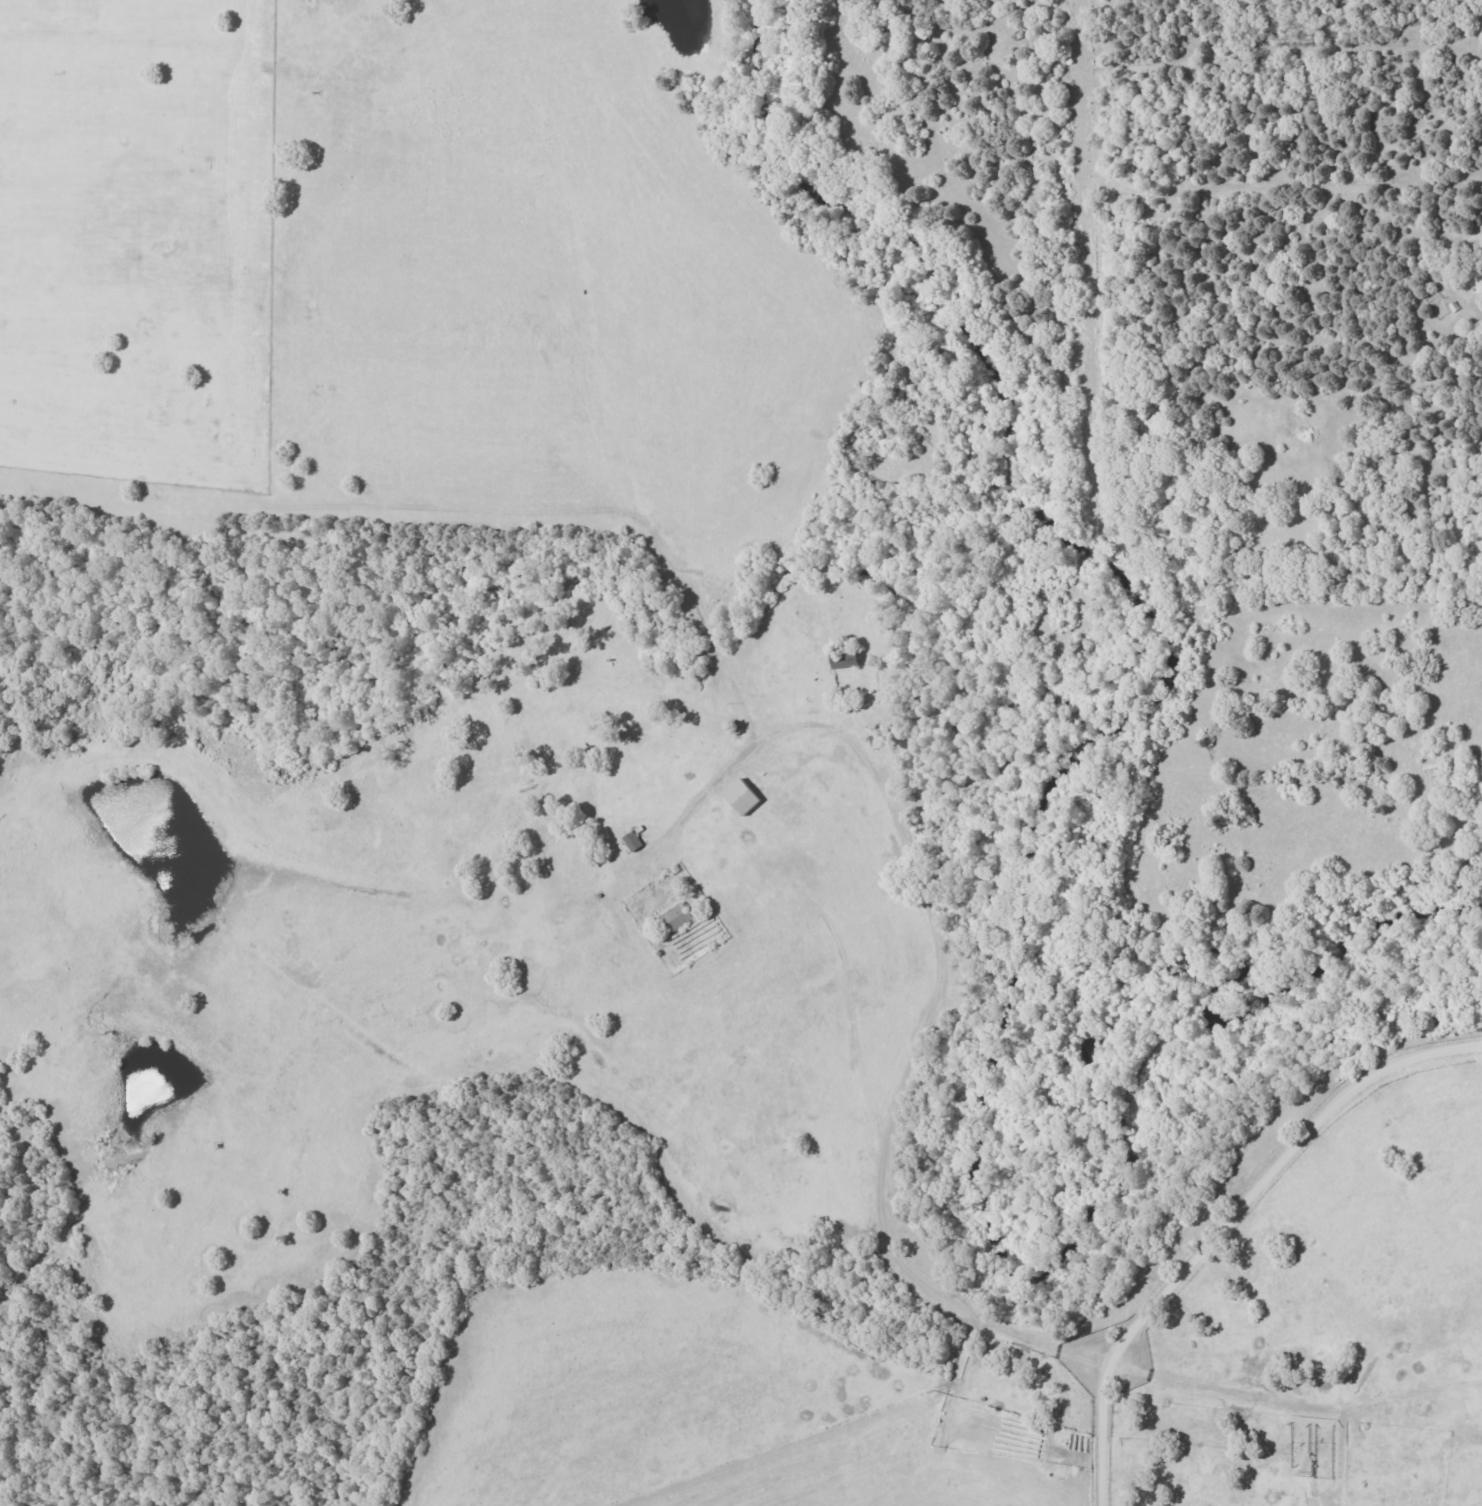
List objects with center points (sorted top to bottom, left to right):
building: (737, 797)
building: (674, 917)
road: (897, 1163)
road: (1226, 1227)

